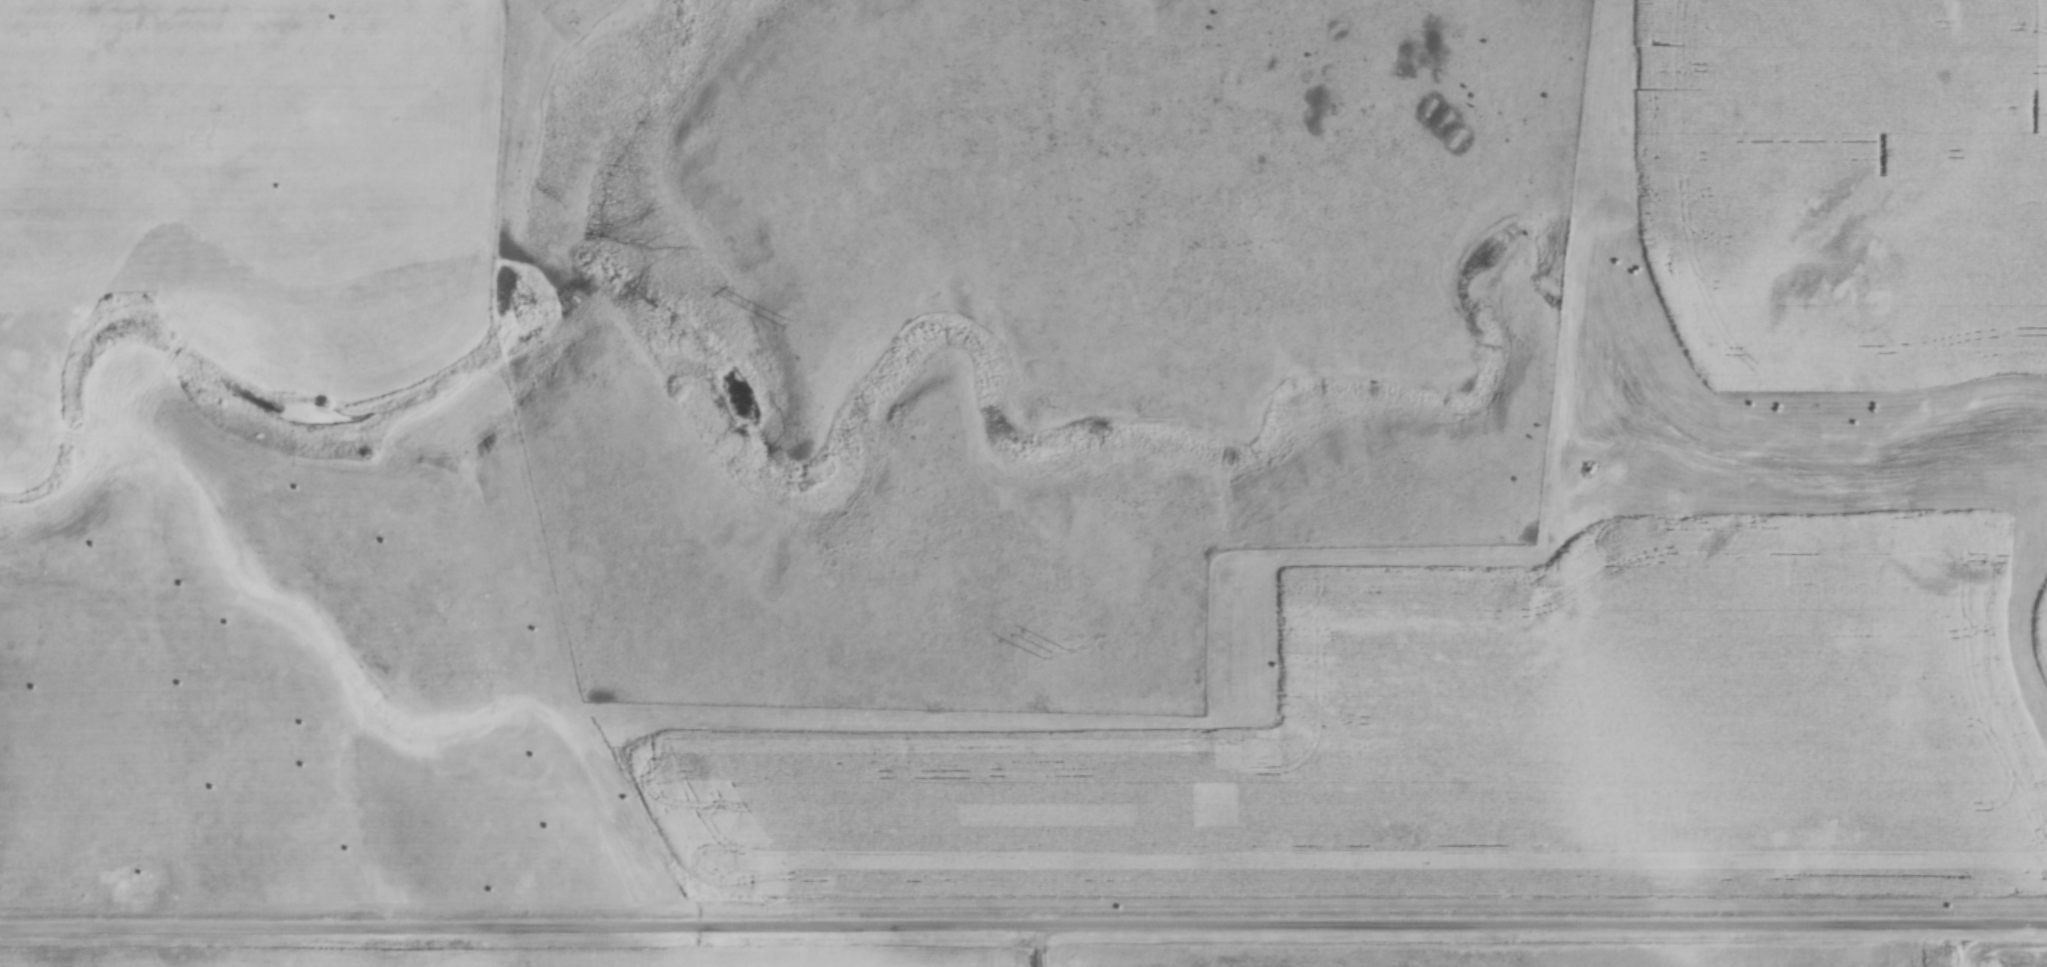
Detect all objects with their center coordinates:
power tower: (781, 326)
power tower: (1051, 655)
road: (1023, 910)

